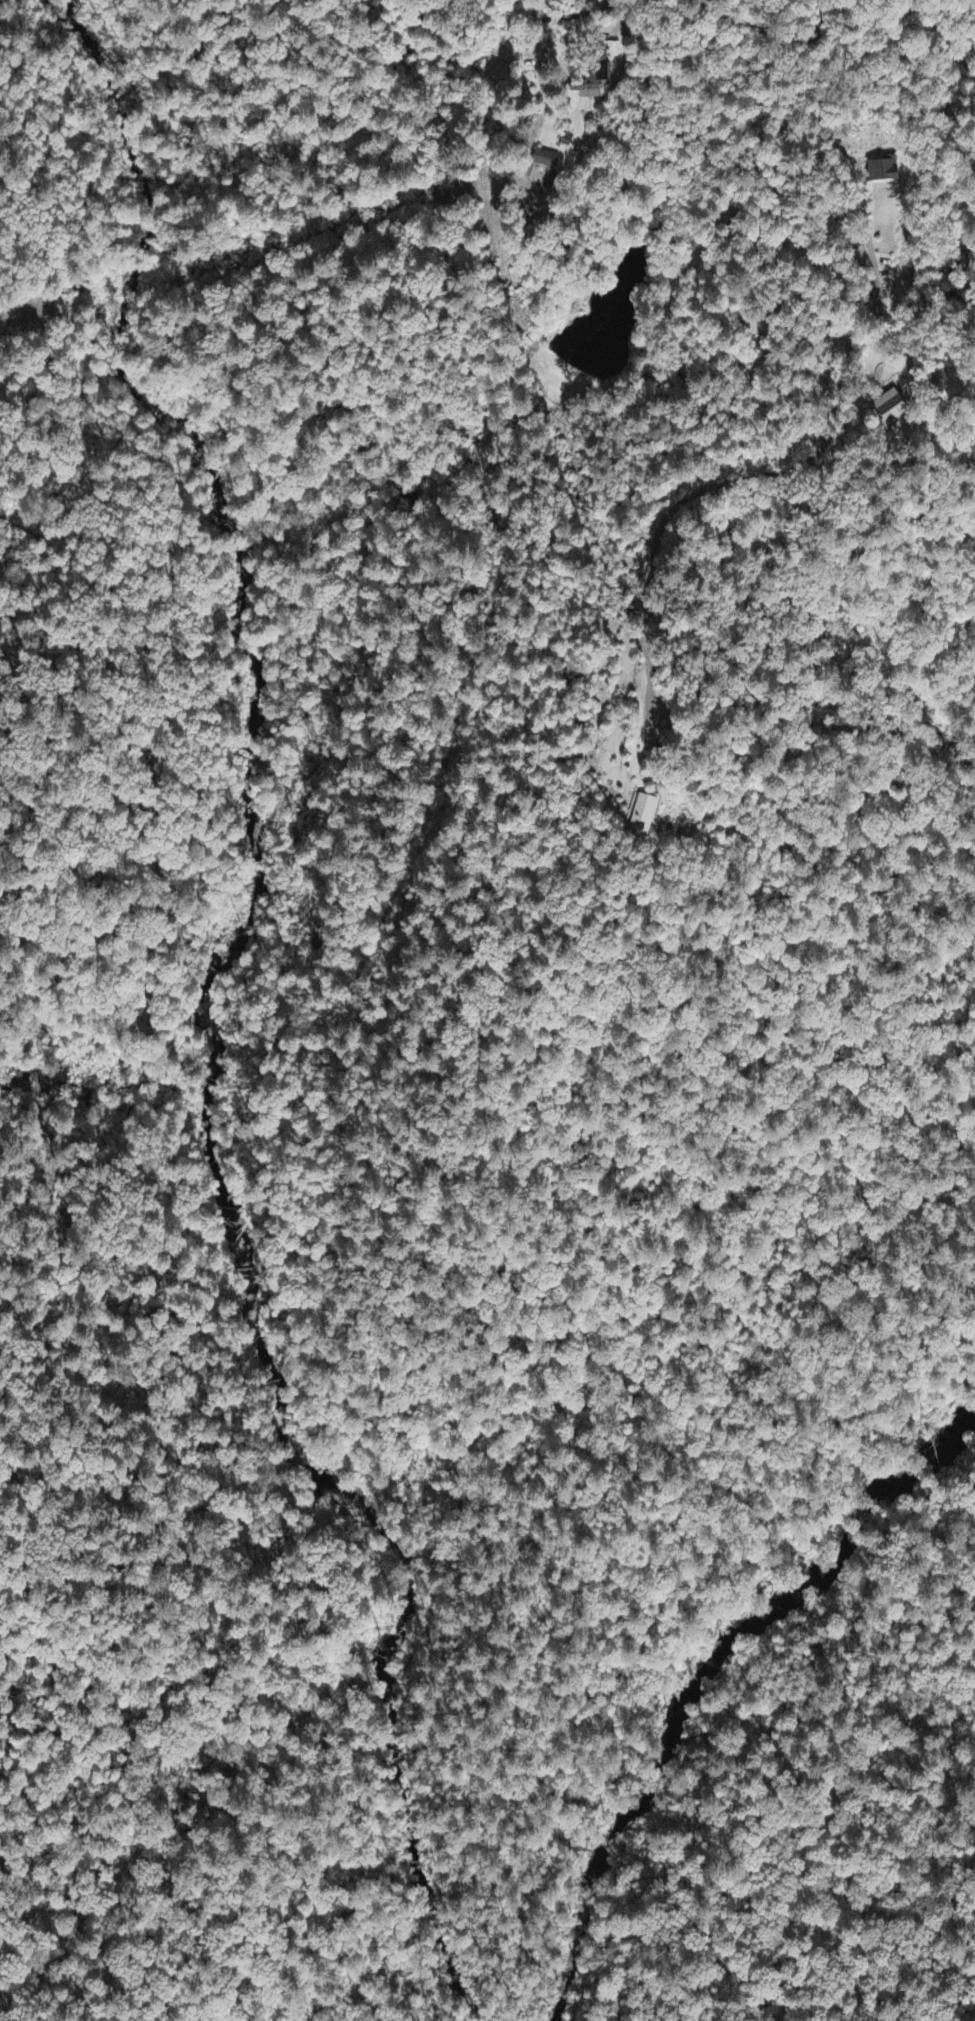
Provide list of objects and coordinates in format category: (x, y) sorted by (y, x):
road: (760, 25)
building: (548, 160)
building: (885, 171)
road: (849, 324)
building: (894, 407)
building: (648, 816)
river: (701, 1669)

